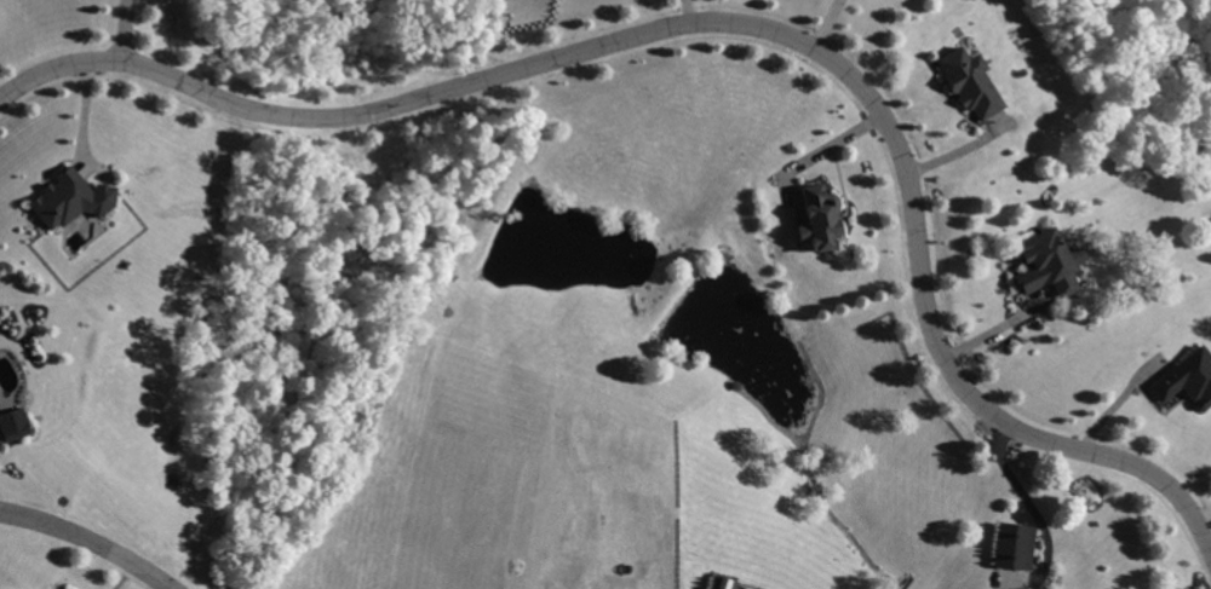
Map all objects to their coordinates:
road: (740, 22)
road: (126, 30)
building: (971, 79)
road: (831, 139)
building: (67, 197)
building: (825, 219)
building: (1048, 262)
road: (998, 328)
building: (1188, 380)
road: (1117, 403)
building: (16, 422)
road: (1041, 519)
road: (92, 538)
building: (1017, 545)
crop: (737, 573)
building: (724, 581)

